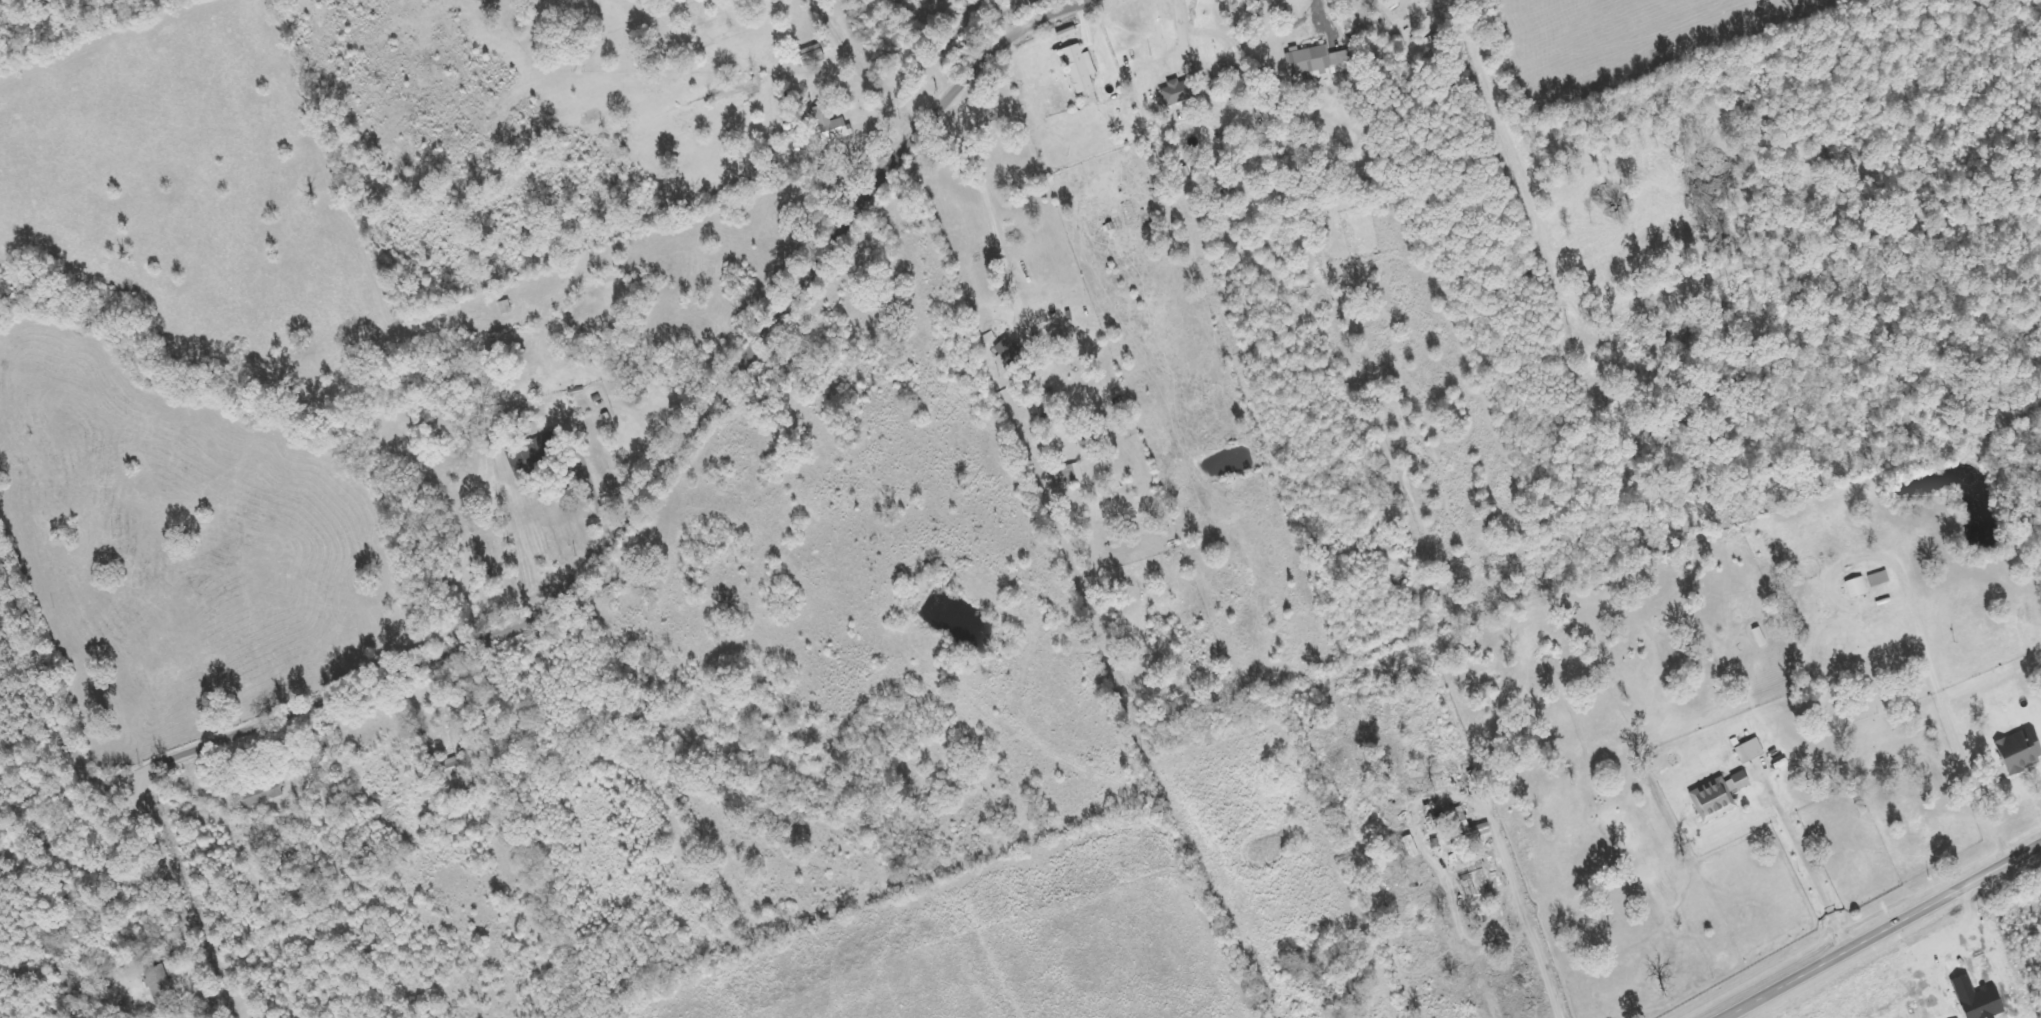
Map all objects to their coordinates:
building: (1068, 38)
building: (1316, 62)
building: (1079, 68)
building: (1173, 93)
building: (828, 123)
building: (1006, 350)
road: (664, 463)
building: (1069, 475)
building: (1879, 578)
building: (1856, 587)
road: (47, 688)
building: (1750, 750)
building: (2019, 752)
building: (452, 775)
building: (261, 794)
building: (1718, 796)
building: (1462, 825)
road: (170, 897)
road: (1881, 931)
building: (160, 970)

